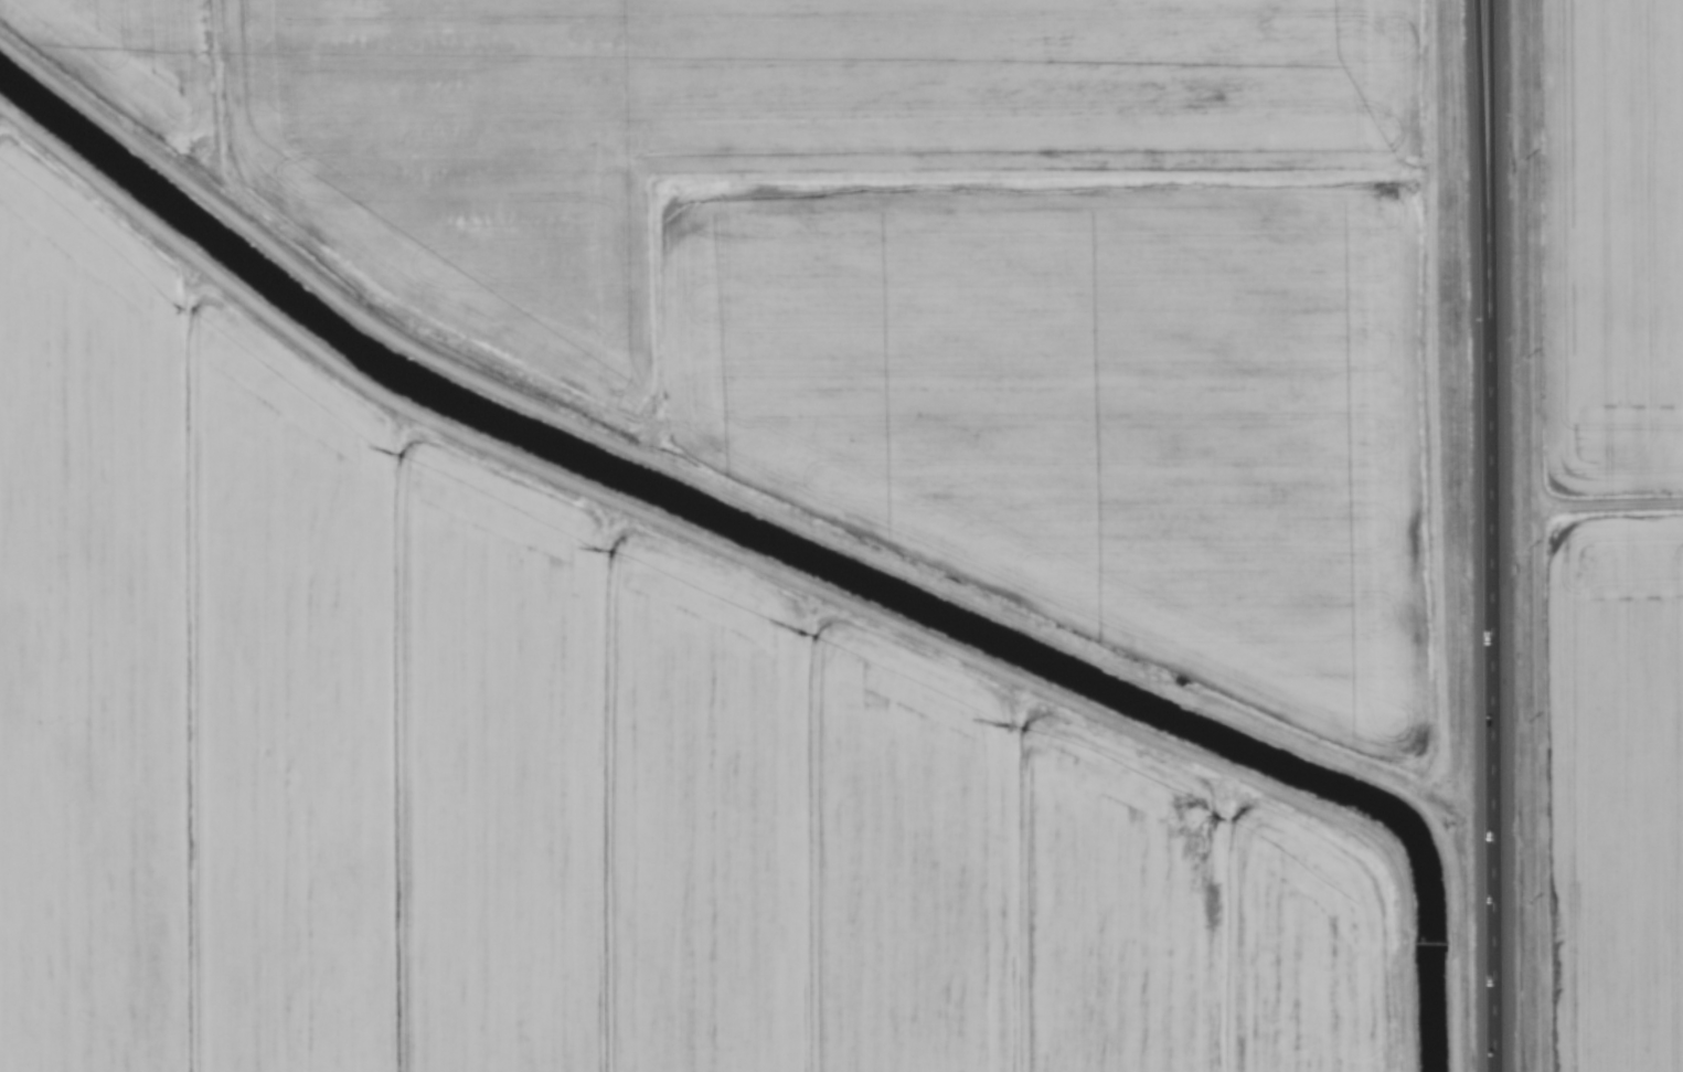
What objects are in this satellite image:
road: (1490, 535)

